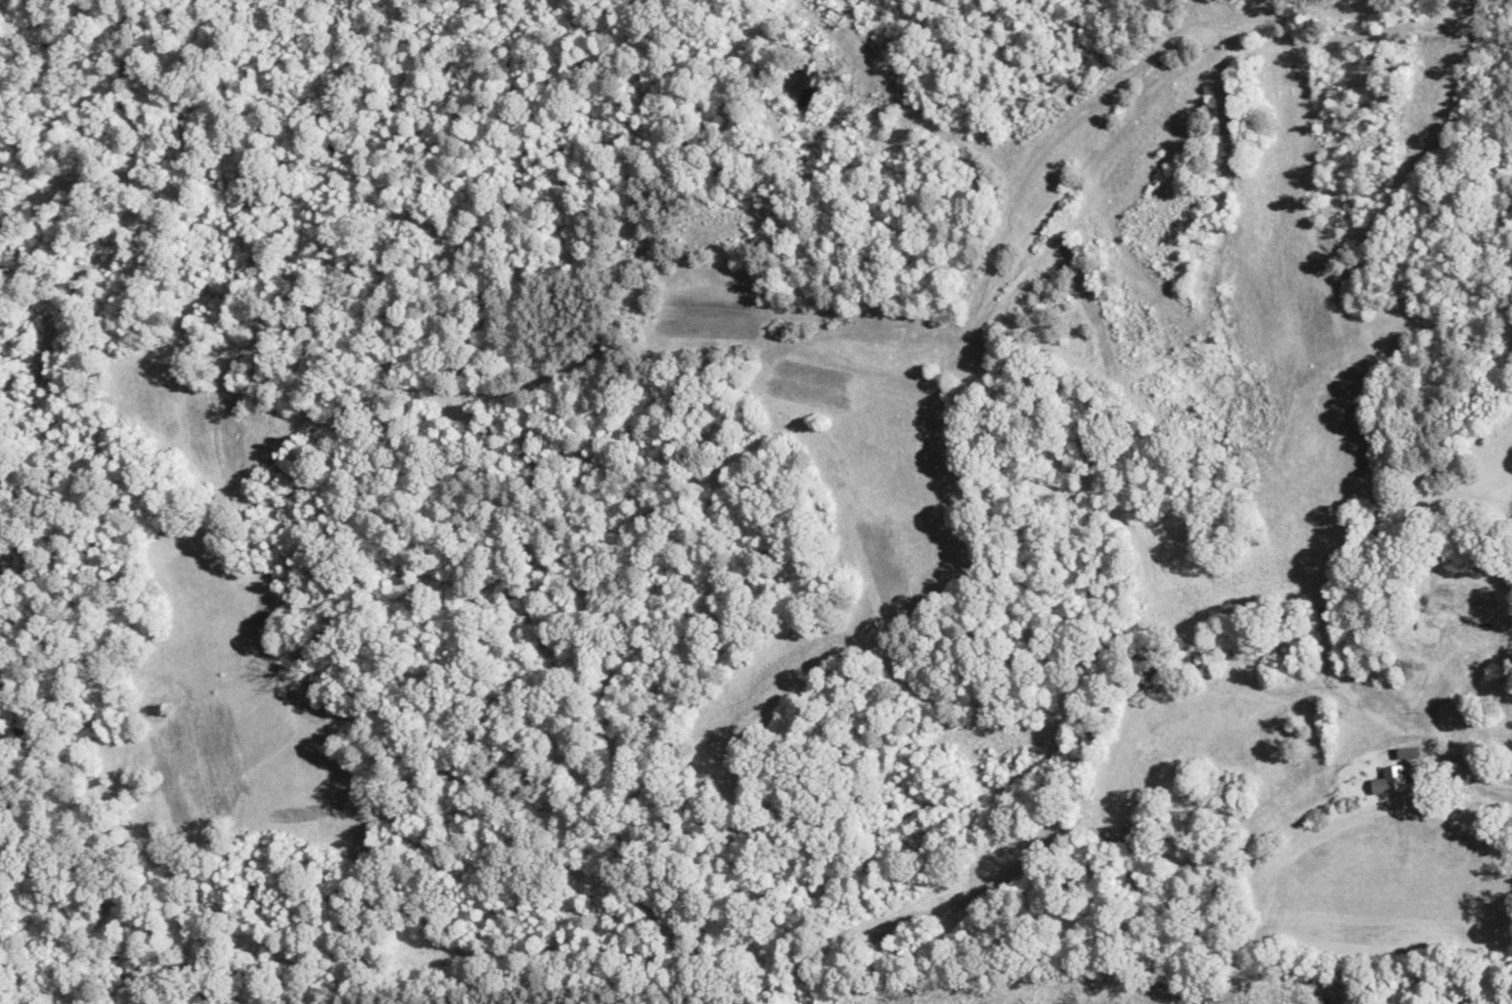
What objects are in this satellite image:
building: (1409, 751)
building: (1392, 778)

